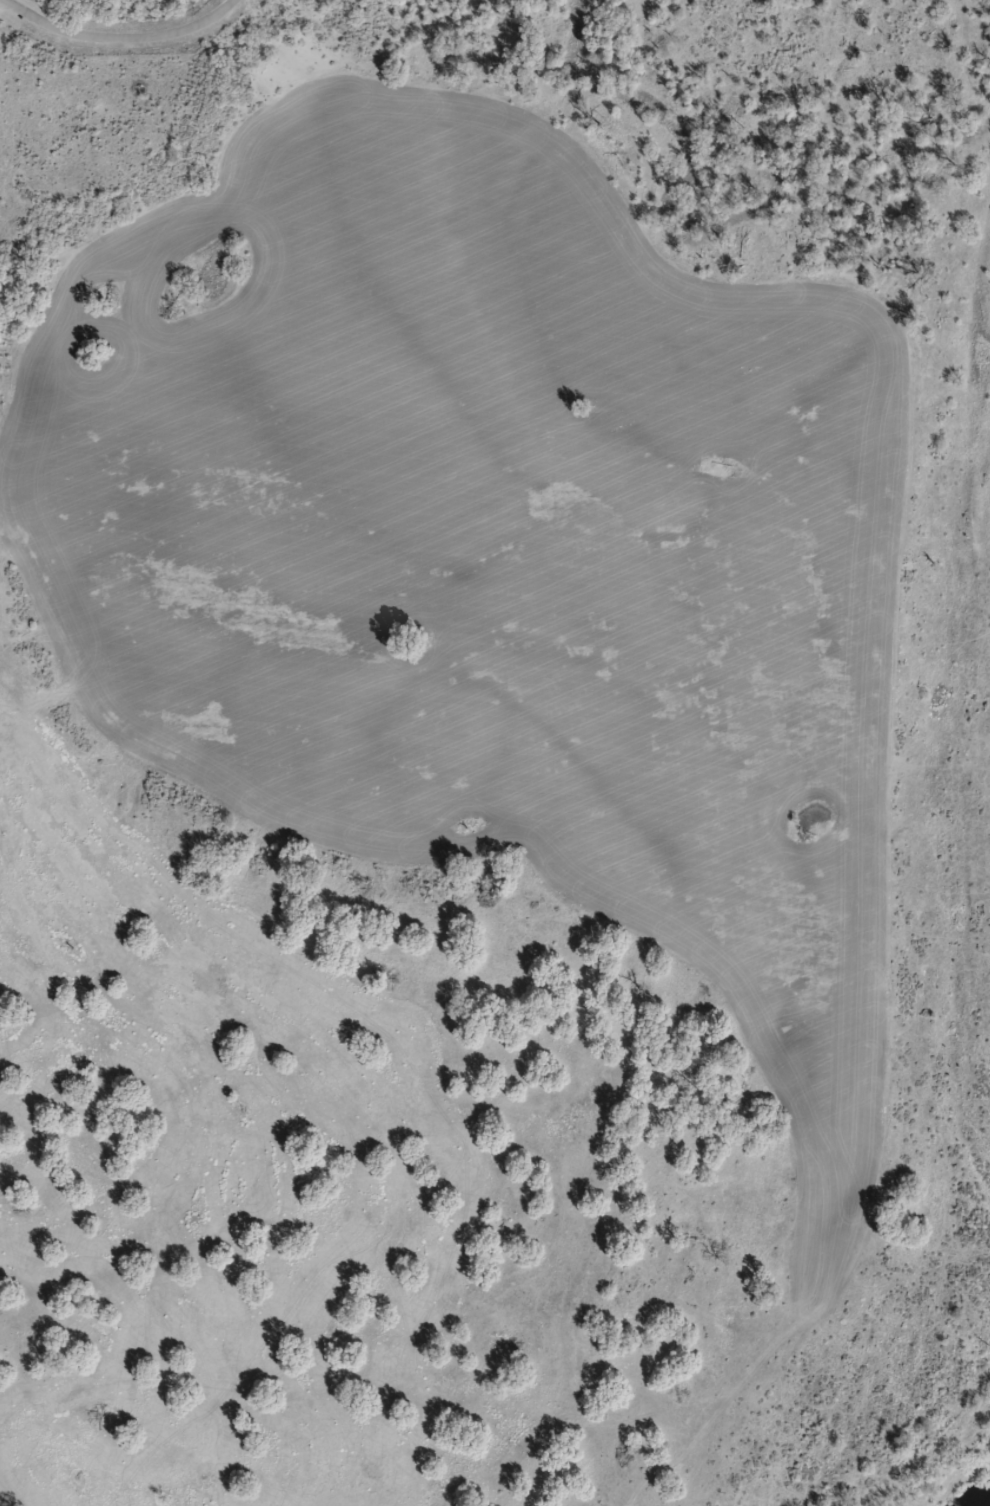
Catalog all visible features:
road: (151, 58)
road: (14, 64)
road: (324, 1196)

